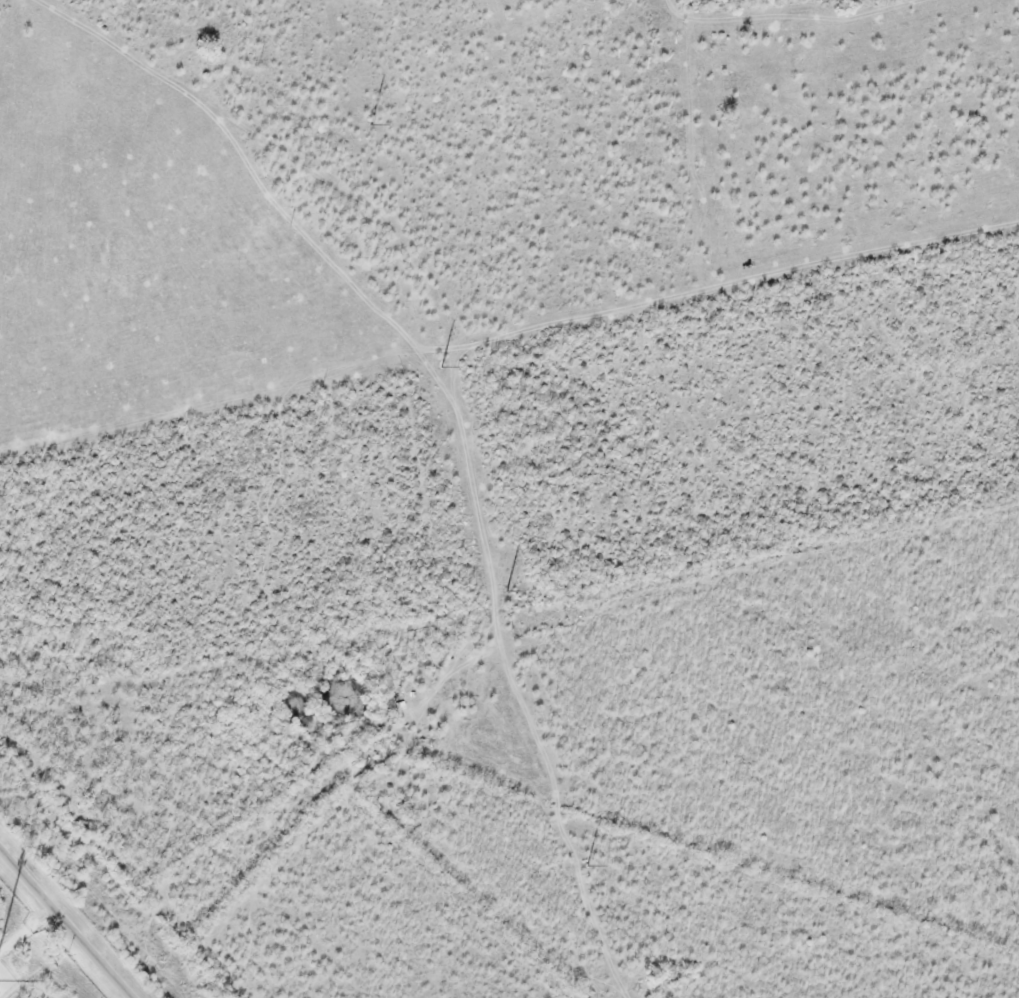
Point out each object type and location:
power tower: (371, 126)
power tower: (440, 367)
power tower: (505, 591)
power tower: (586, 868)
road: (65, 923)

